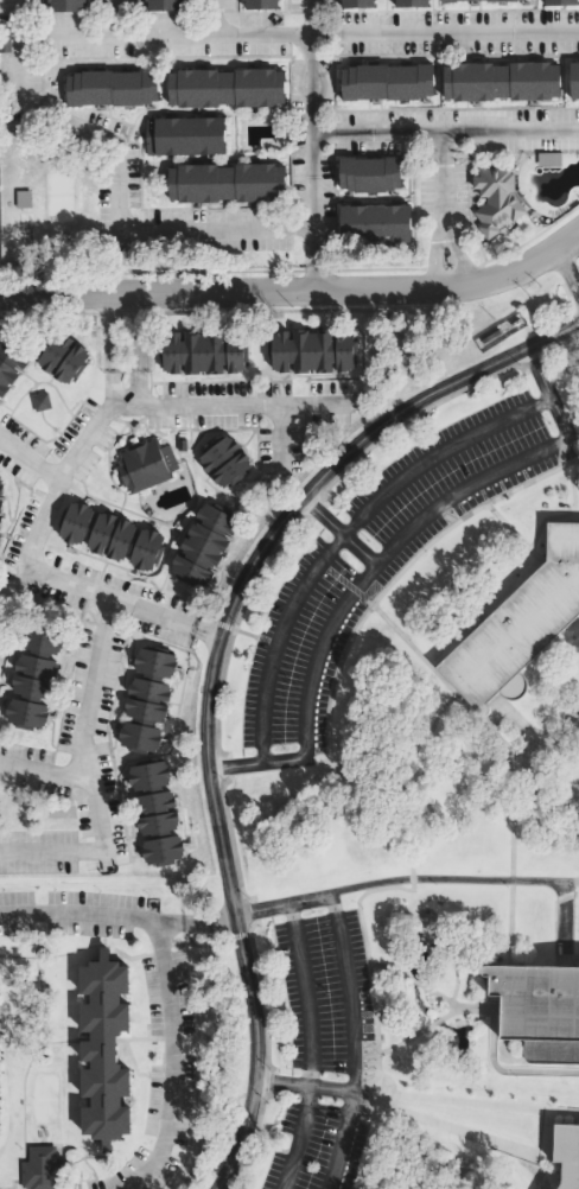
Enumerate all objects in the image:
building: (446, 0)
building: (501, 0)
building: (560, 1)
building: (260, 4)
building: (356, 4)
building: (411, 4)
building: (65, 5)
building: (163, 5)
road: (113, 18)
road: (211, 18)
road: (297, 33)
building: (6, 36)
building: (573, 80)
building: (498, 81)
building: (386, 82)
building: (110, 87)
building: (225, 87)
road: (443, 131)
building: (184, 135)
road: (307, 145)
building: (551, 159)
road: (440, 173)
building: (369, 174)
road: (115, 180)
building: (225, 182)
building: (26, 199)
building: (494, 199)
building: (373, 223)
road: (453, 250)
road: (432, 252)
road: (567, 271)
road: (297, 291)
road: (122, 332)
road: (553, 345)
building: (13, 351)
building: (314, 351)
building: (204, 354)
building: (63, 358)
road: (533, 368)
road: (123, 389)
building: (39, 401)
road: (408, 418)
road: (276, 438)
building: (179, 444)
building: (224, 460)
road: (28, 462)
road: (65, 462)
building: (145, 465)
building: (1, 510)
road: (314, 513)
road: (463, 516)
road: (337, 532)
road: (341, 534)
building: (109, 535)
building: (204, 543)
parking lot: (382, 555)
road: (381, 557)
road: (13, 584)
road: (250, 585)
road: (388, 623)
building: (520, 624)
road: (209, 670)
building: (34, 674)
building: (147, 697)
road: (216, 697)
road: (227, 767)
road: (43, 772)
road: (549, 772)
road: (87, 775)
road: (515, 775)
road: (422, 783)
building: (155, 810)
road: (229, 840)
road: (104, 858)
road: (411, 878)
road: (428, 878)
road: (510, 879)
road: (570, 882)
road: (356, 899)
road: (253, 910)
parking lot: (70, 913)
road: (117, 916)
road: (509, 922)
road: (566, 958)
road: (369, 965)
building: (0, 991)
parking lot: (165, 993)
road: (260, 997)
building: (539, 1006)
building: (0, 1025)
road: (416, 1032)
road: (350, 1042)
road: (308, 1047)
building: (104, 1049)
parking lot: (322, 1054)
building: (0, 1055)
road: (171, 1061)
road: (501, 1069)
road: (272, 1083)
building: (0, 1088)
parking lot: (170, 1098)
road: (561, 1112)
building: (0, 1126)
road: (250, 1137)
road: (542, 1138)
road: (342, 1142)
building: (568, 1152)
building: (43, 1169)
parking lot: (136, 1171)

